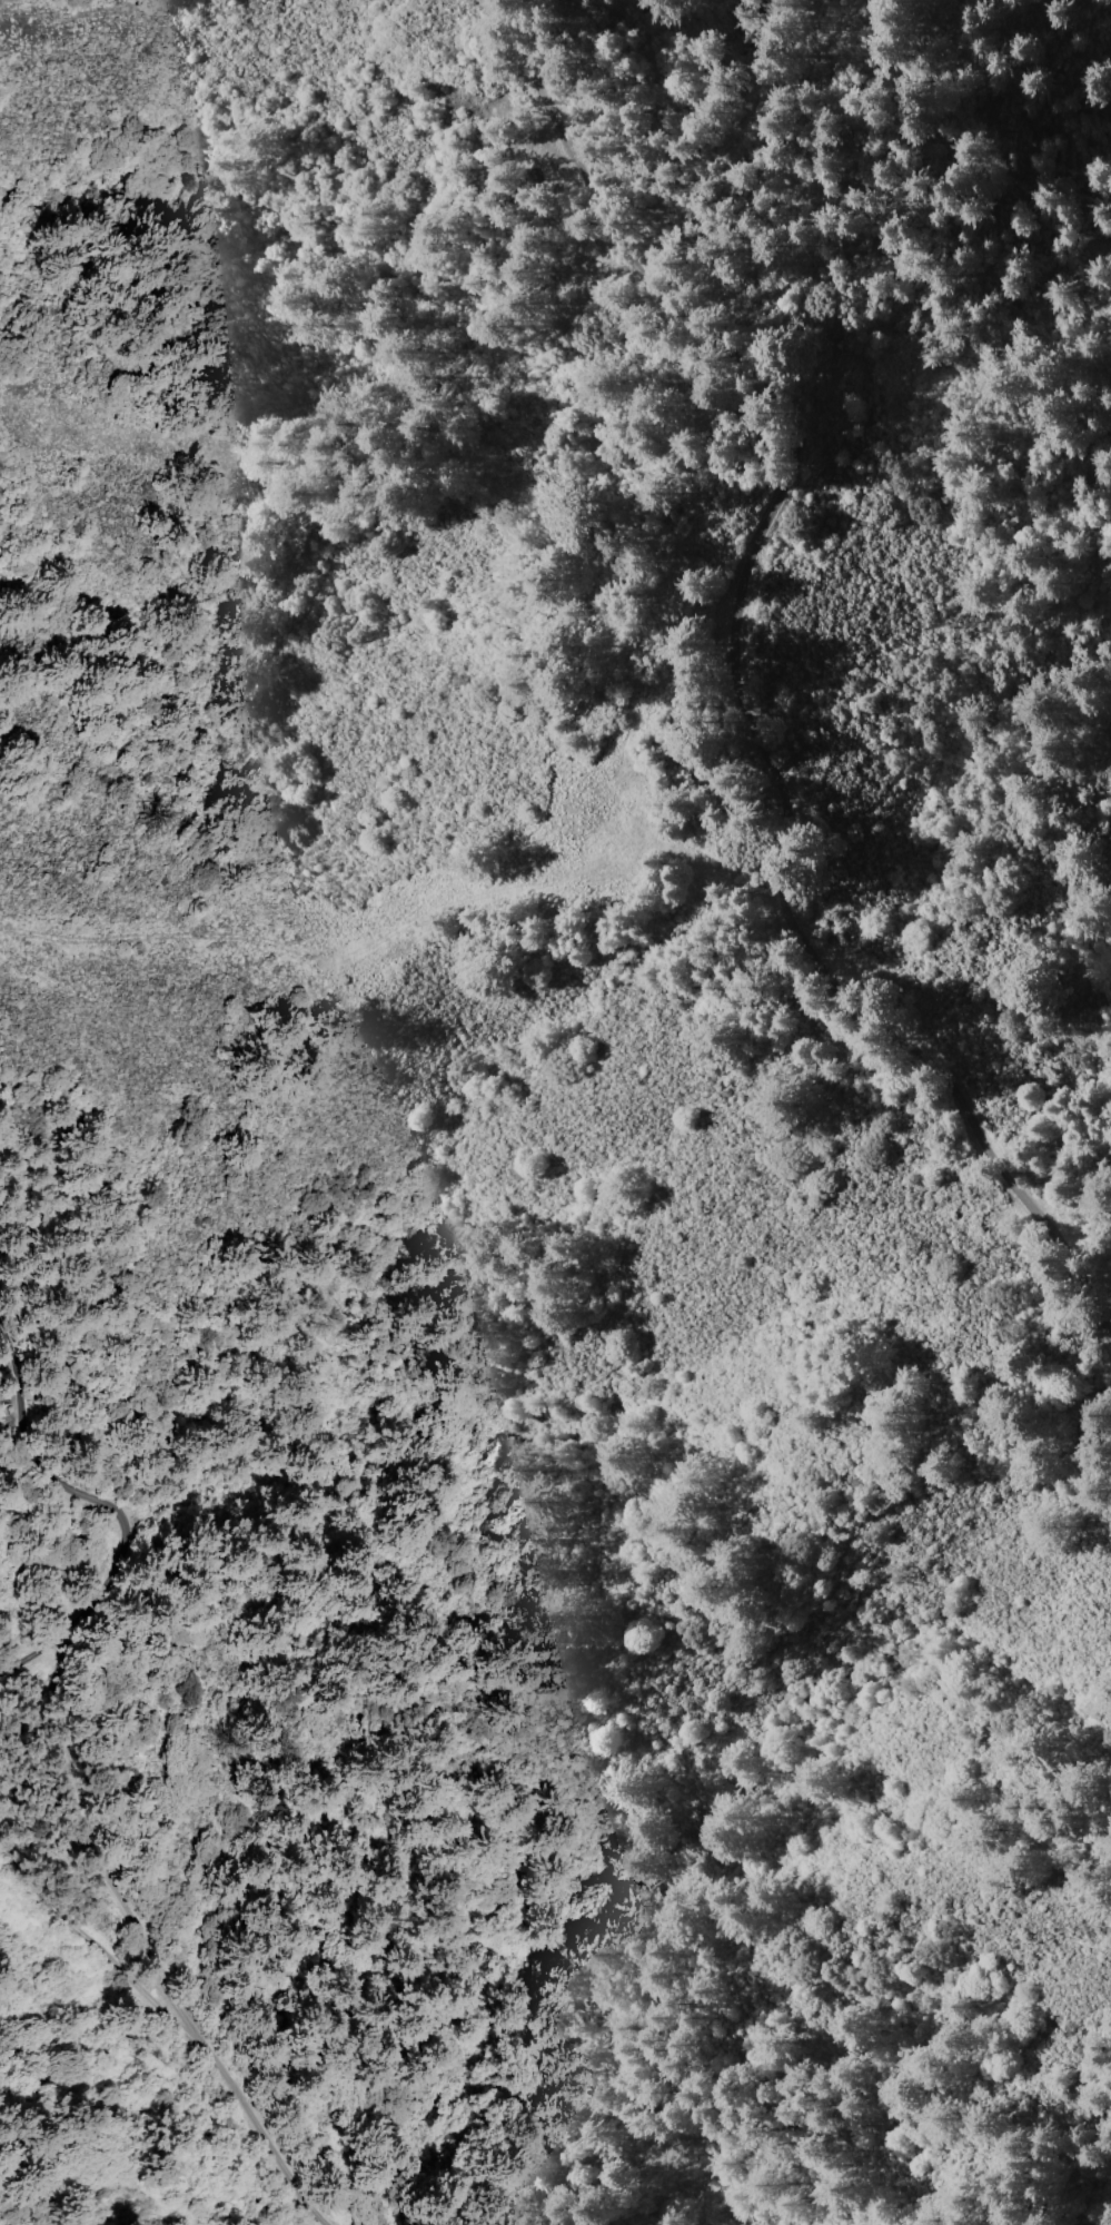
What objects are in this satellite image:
road: (740, 669)
road: (42, 1646)
road: (76, 1747)

